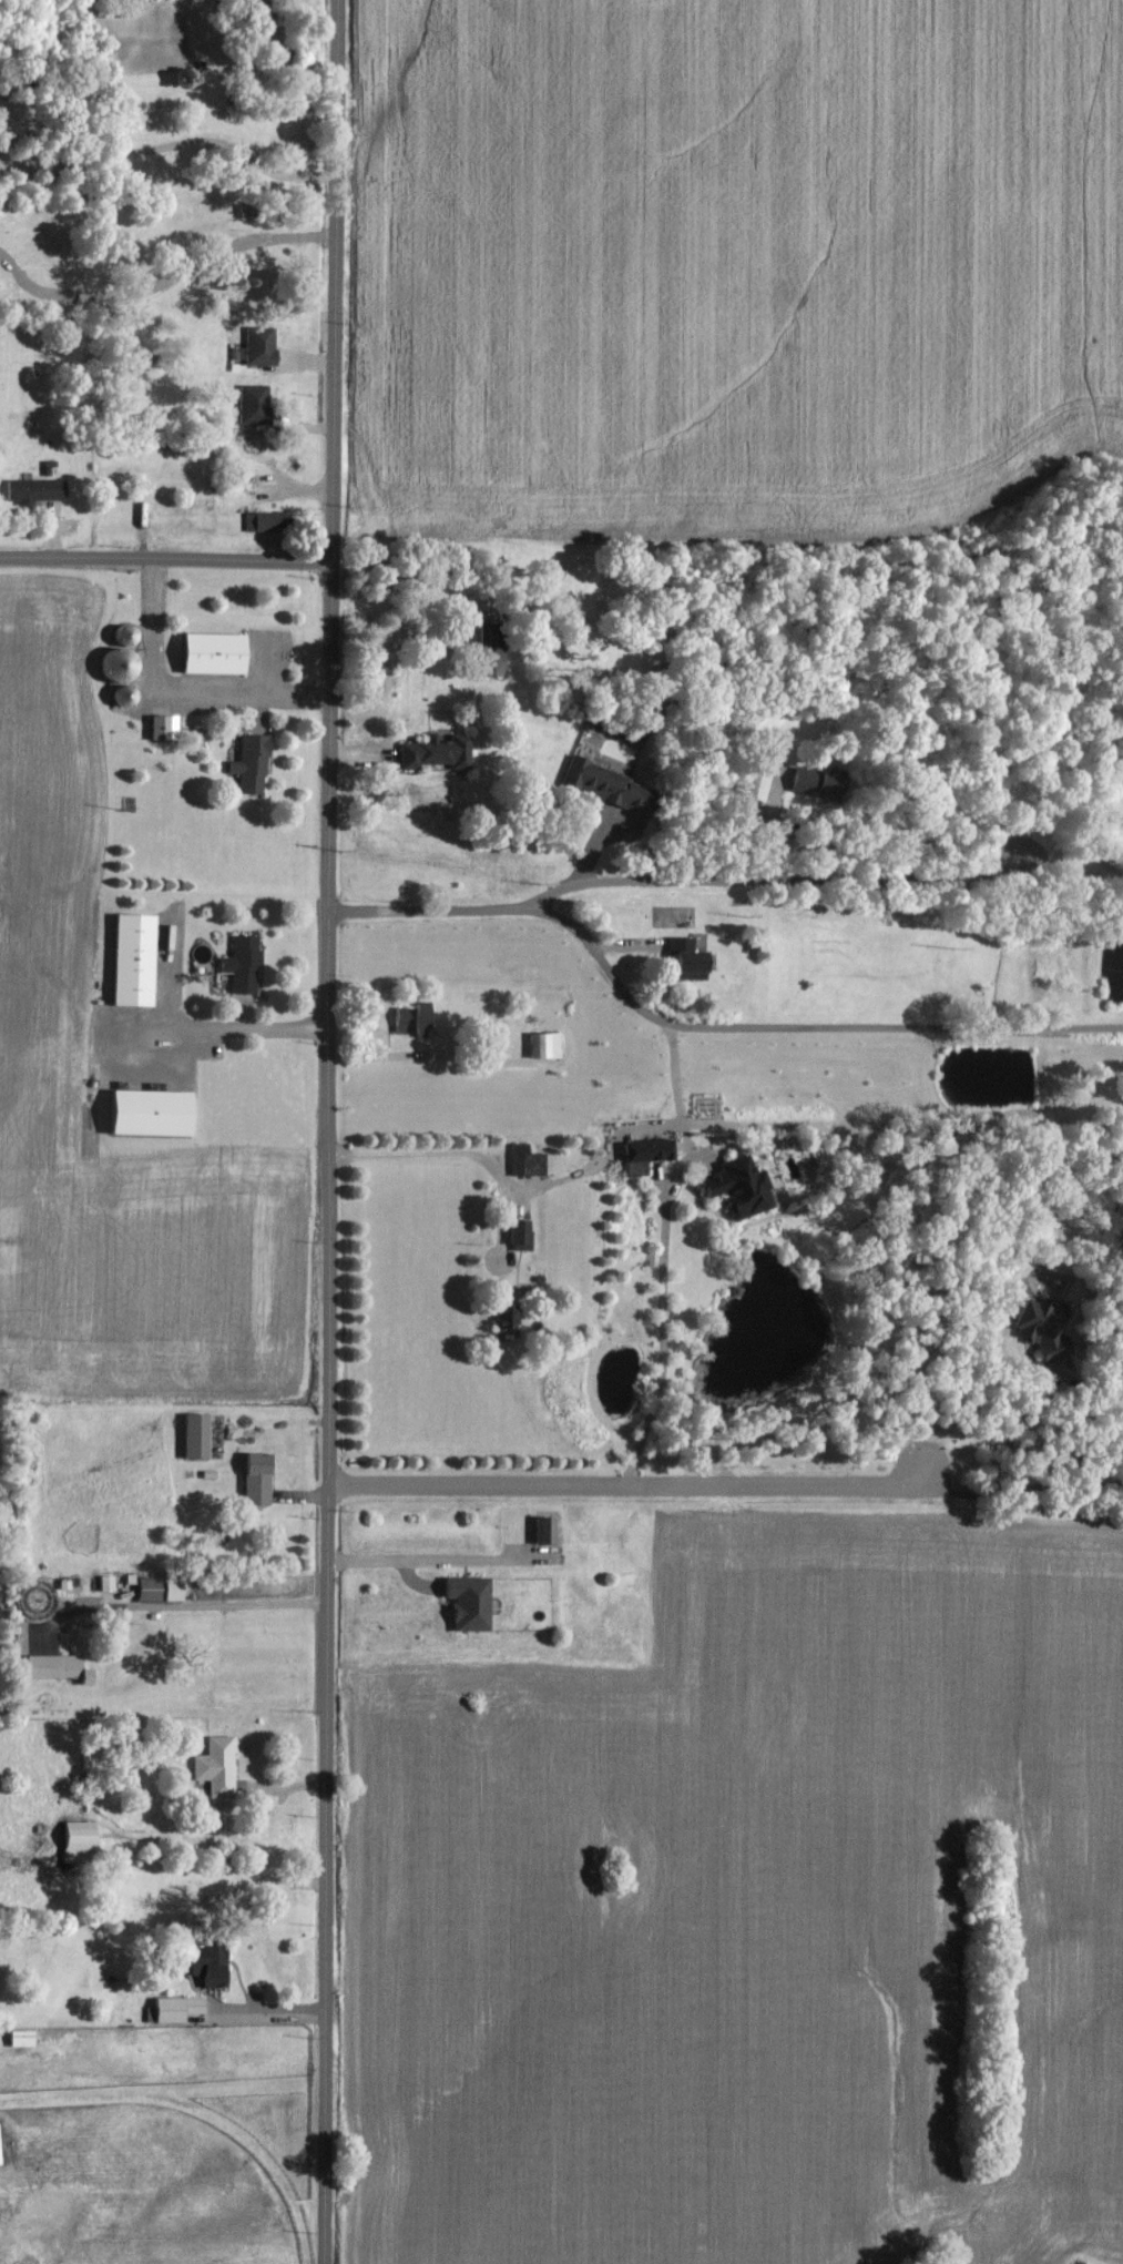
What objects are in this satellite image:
road: (166, 148)
road: (161, 284)
building: (265, 345)
building: (258, 404)
building: (41, 488)
building: (269, 520)
road: (164, 556)
building: (499, 648)
building: (221, 652)
building: (127, 657)
road: (175, 689)
building: (169, 727)
building: (441, 752)
building: (256, 763)
building: (823, 781)
building: (611, 784)
road: (721, 875)
building: (176, 926)
building: (693, 954)
building: (140, 958)
building: (247, 963)
building: (418, 1018)
road: (213, 1024)
road: (804, 1025)
building: (550, 1045)
building: (159, 1111)
road: (326, 1131)
road: (449, 1151)
building: (651, 1154)
building: (531, 1161)
building: (745, 1186)
building: (524, 1235)
road: (662, 1250)
building: (513, 1320)
building: (1043, 1322)
building: (202, 1435)
road: (1007, 1440)
building: (263, 1479)
road: (627, 1483)
road: (1020, 1485)
building: (547, 1530)
road: (410, 1557)
building: (111, 1583)
building: (165, 1588)
building: (476, 1602)
road: (178, 1603)
building: (62, 1668)
building: (221, 1766)
building: (84, 1841)
building: (215, 1964)
road: (266, 2007)
building: (178, 2009)
building: (27, 2039)
building: (2, 2144)

